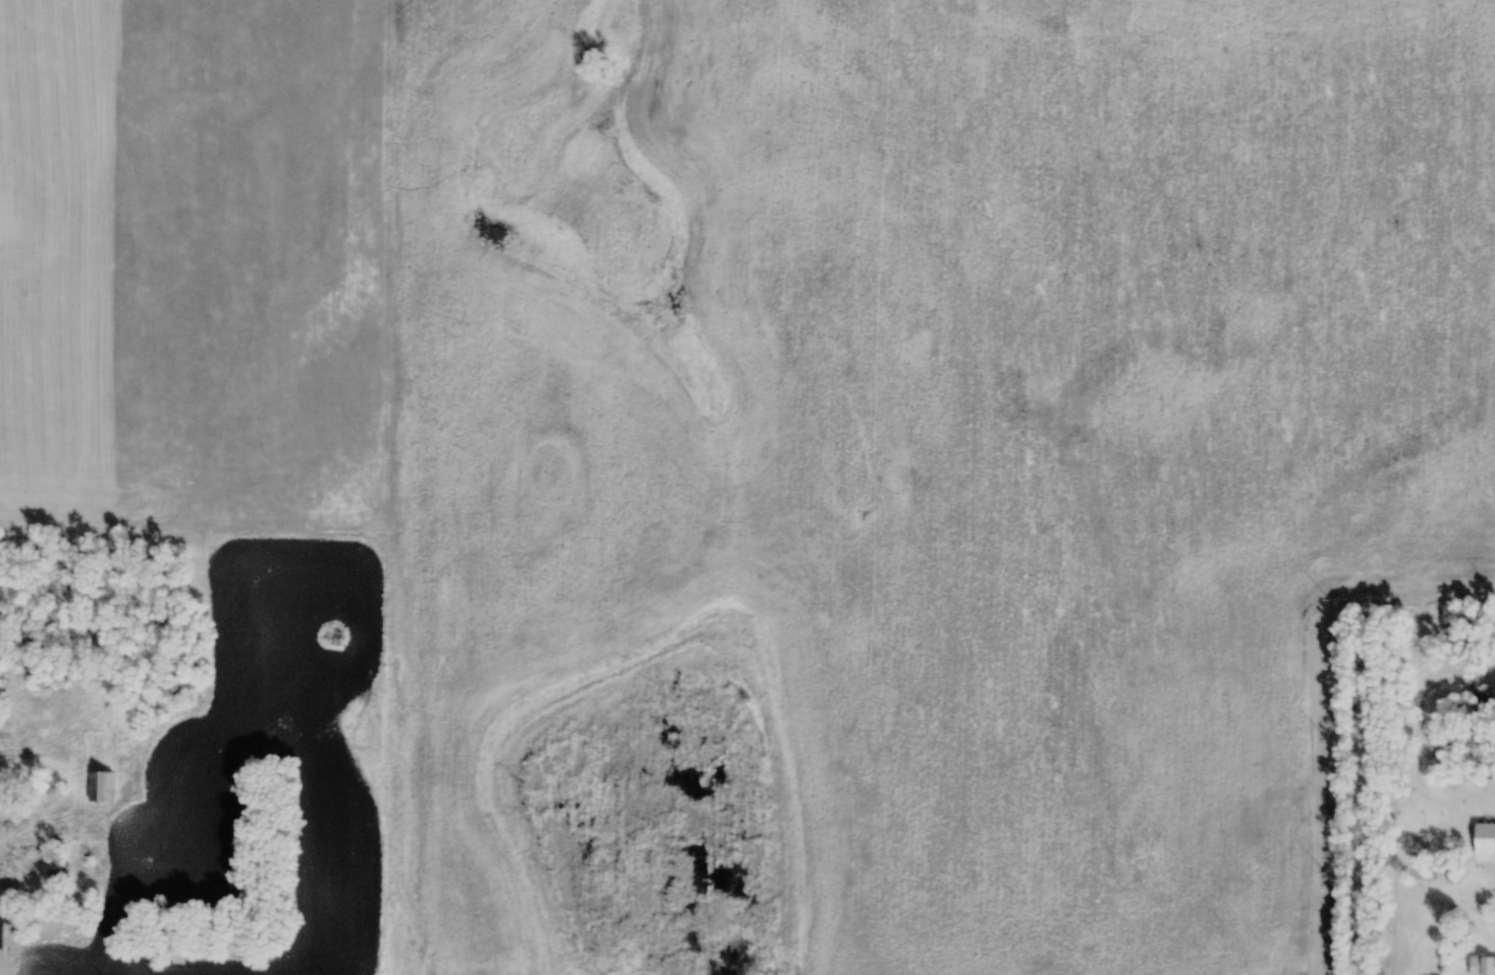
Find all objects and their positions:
building: (101, 786)
building: (1484, 839)
building: (57, 883)
building: (20, 922)
building: (1482, 966)

